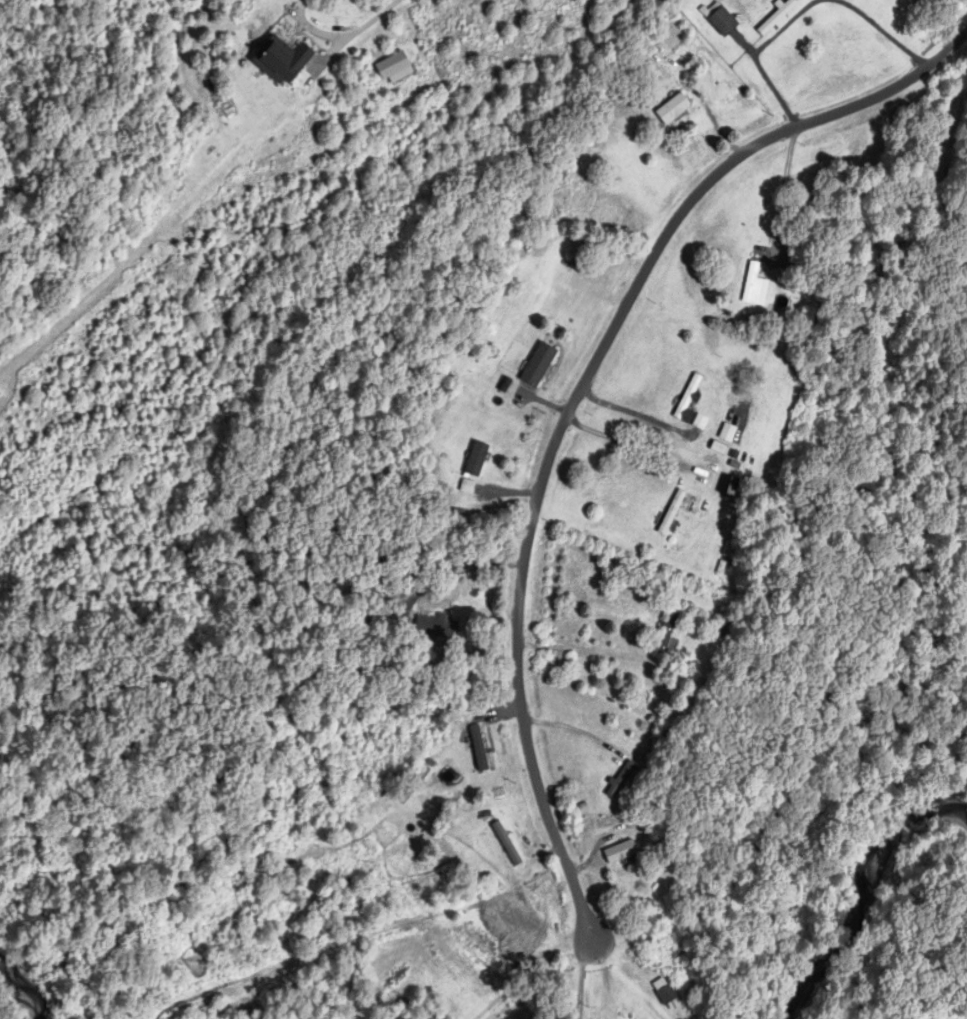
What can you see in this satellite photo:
building: (777, 18)
building: (721, 19)
road: (375, 22)
building: (392, 66)
building: (673, 109)
road: (783, 196)
building: (965, 255)
building: (750, 282)
building: (538, 365)
building: (687, 400)
road: (573, 401)
road: (627, 411)
building: (727, 433)
building: (475, 460)
building: (466, 487)
building: (671, 513)
building: (436, 629)
building: (668, 634)
road: (579, 648)
building: (668, 672)
building: (620, 780)
building: (506, 845)
building: (619, 853)
road: (585, 978)
building: (663, 991)

